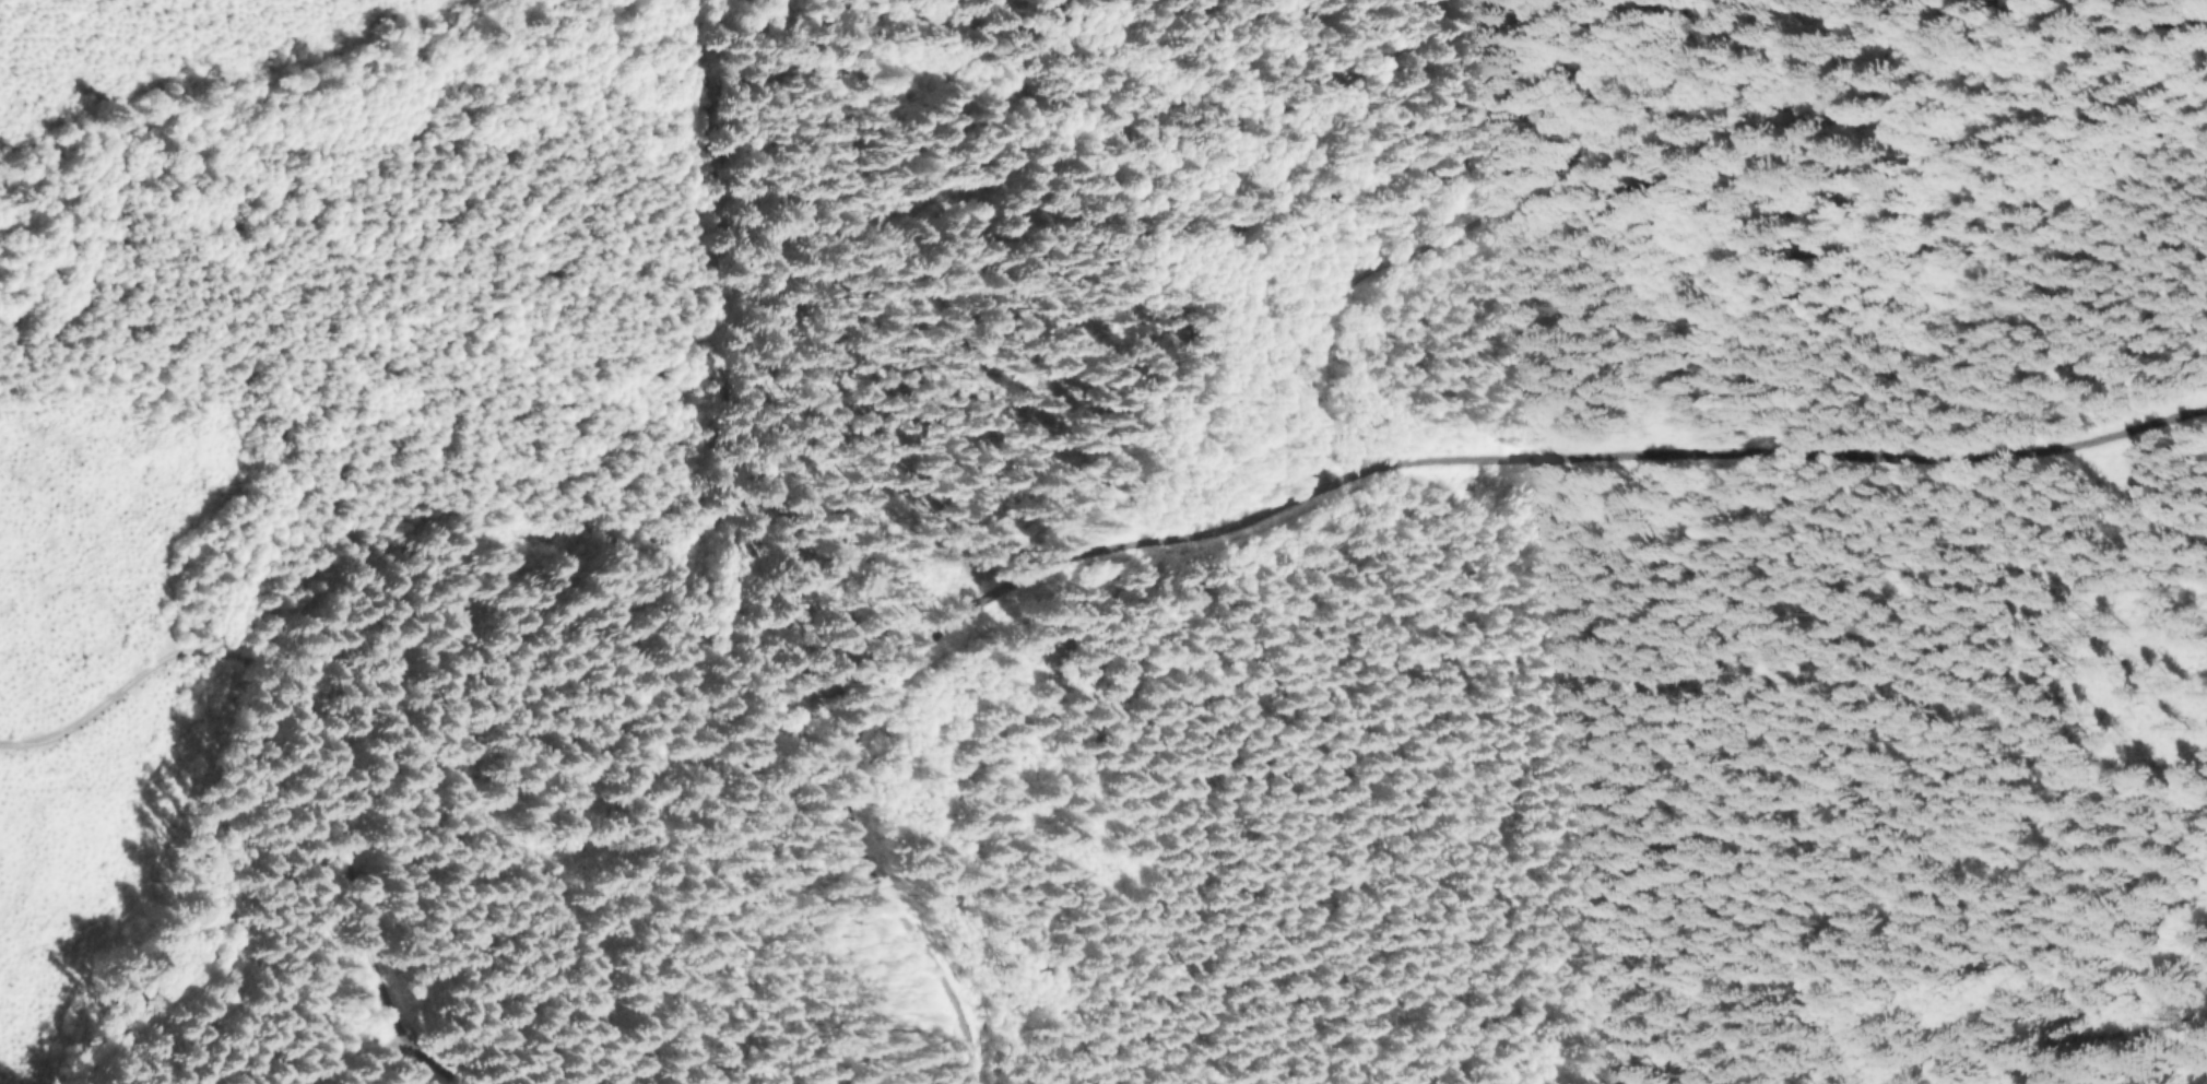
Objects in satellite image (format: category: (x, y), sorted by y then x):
road: (1459, 237)
road: (1319, 498)
road: (333, 741)

